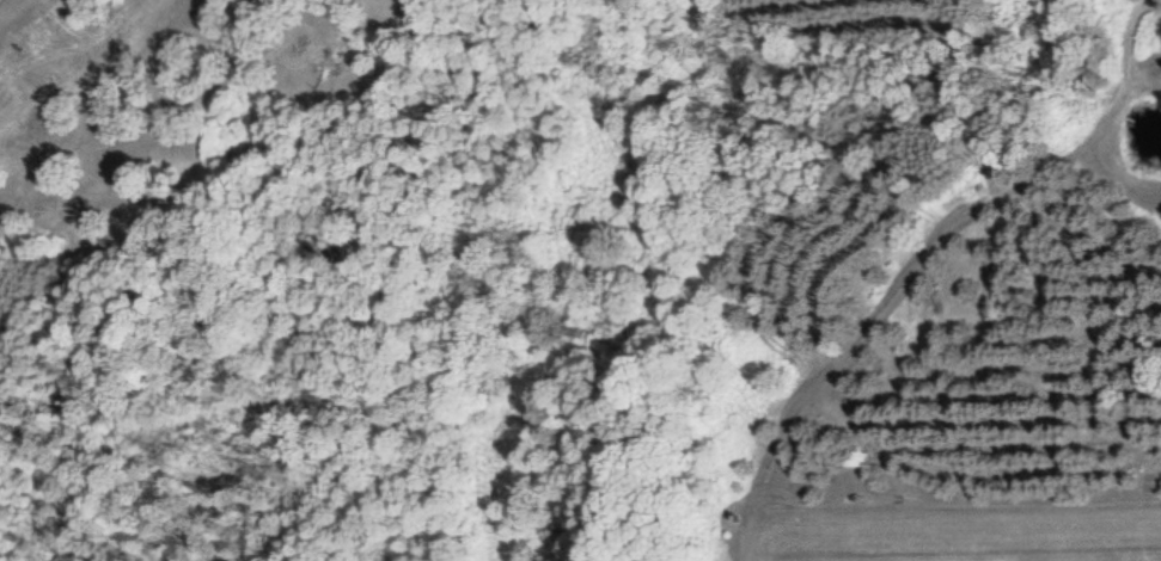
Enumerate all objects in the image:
park: (367, 110)

